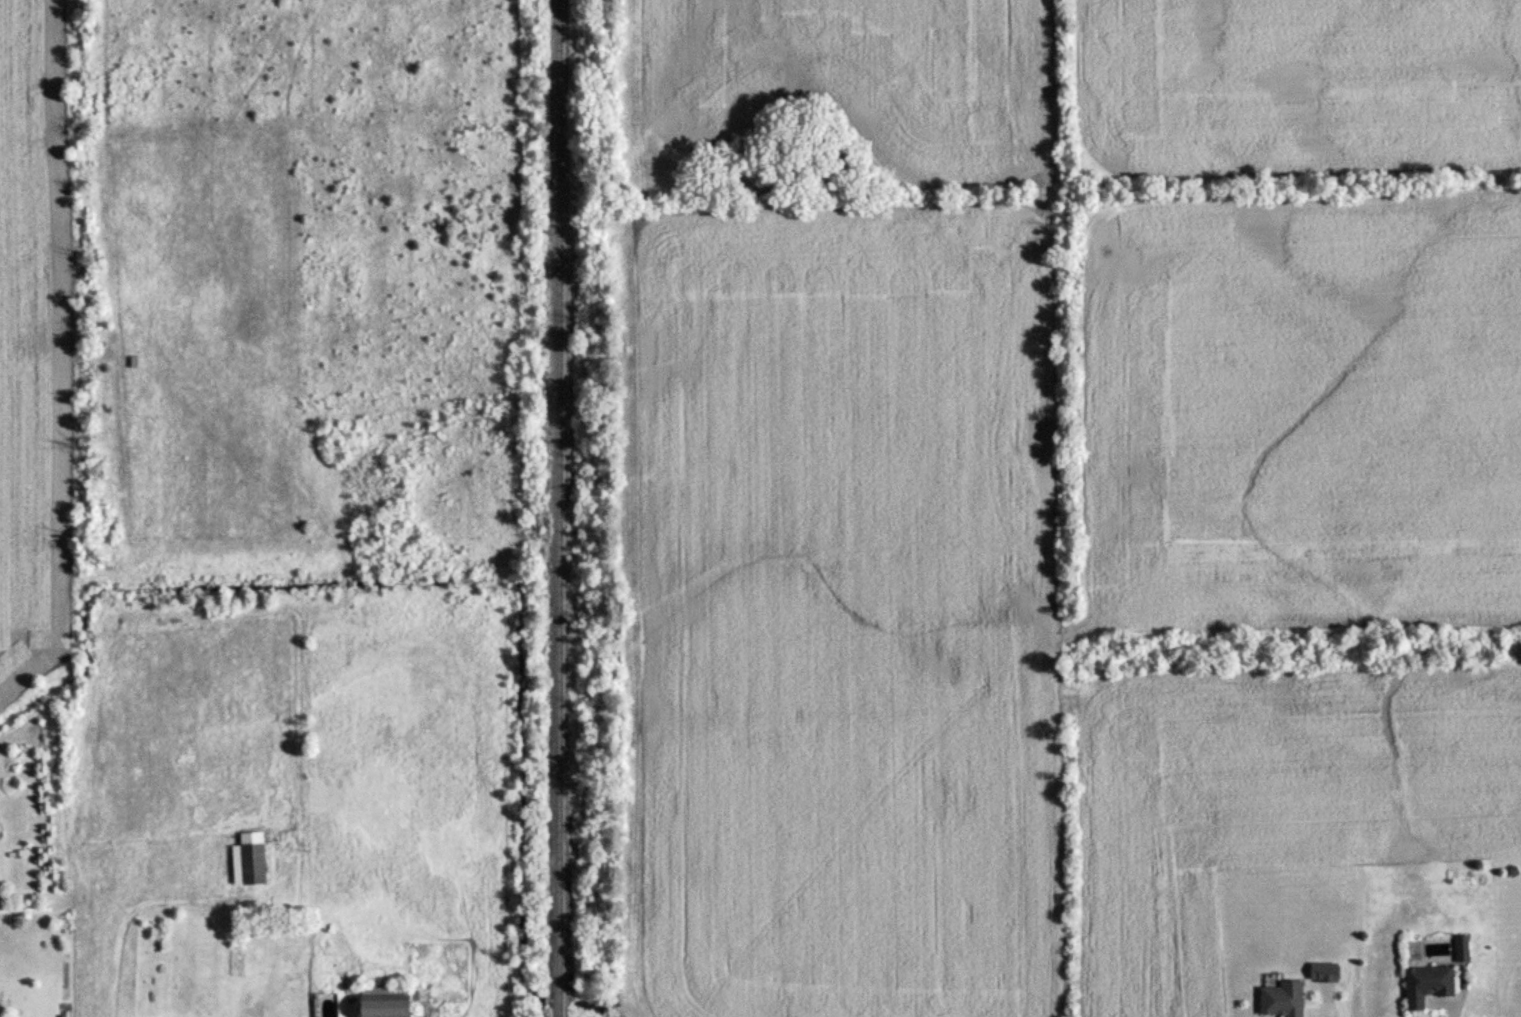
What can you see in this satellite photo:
railway: (559, 508)
building: (248, 863)
road: (127, 918)
building: (1460, 948)
building: (1424, 984)
building: (1279, 999)
building: (377, 1001)
road: (1449, 1014)
road: (1307, 1016)

